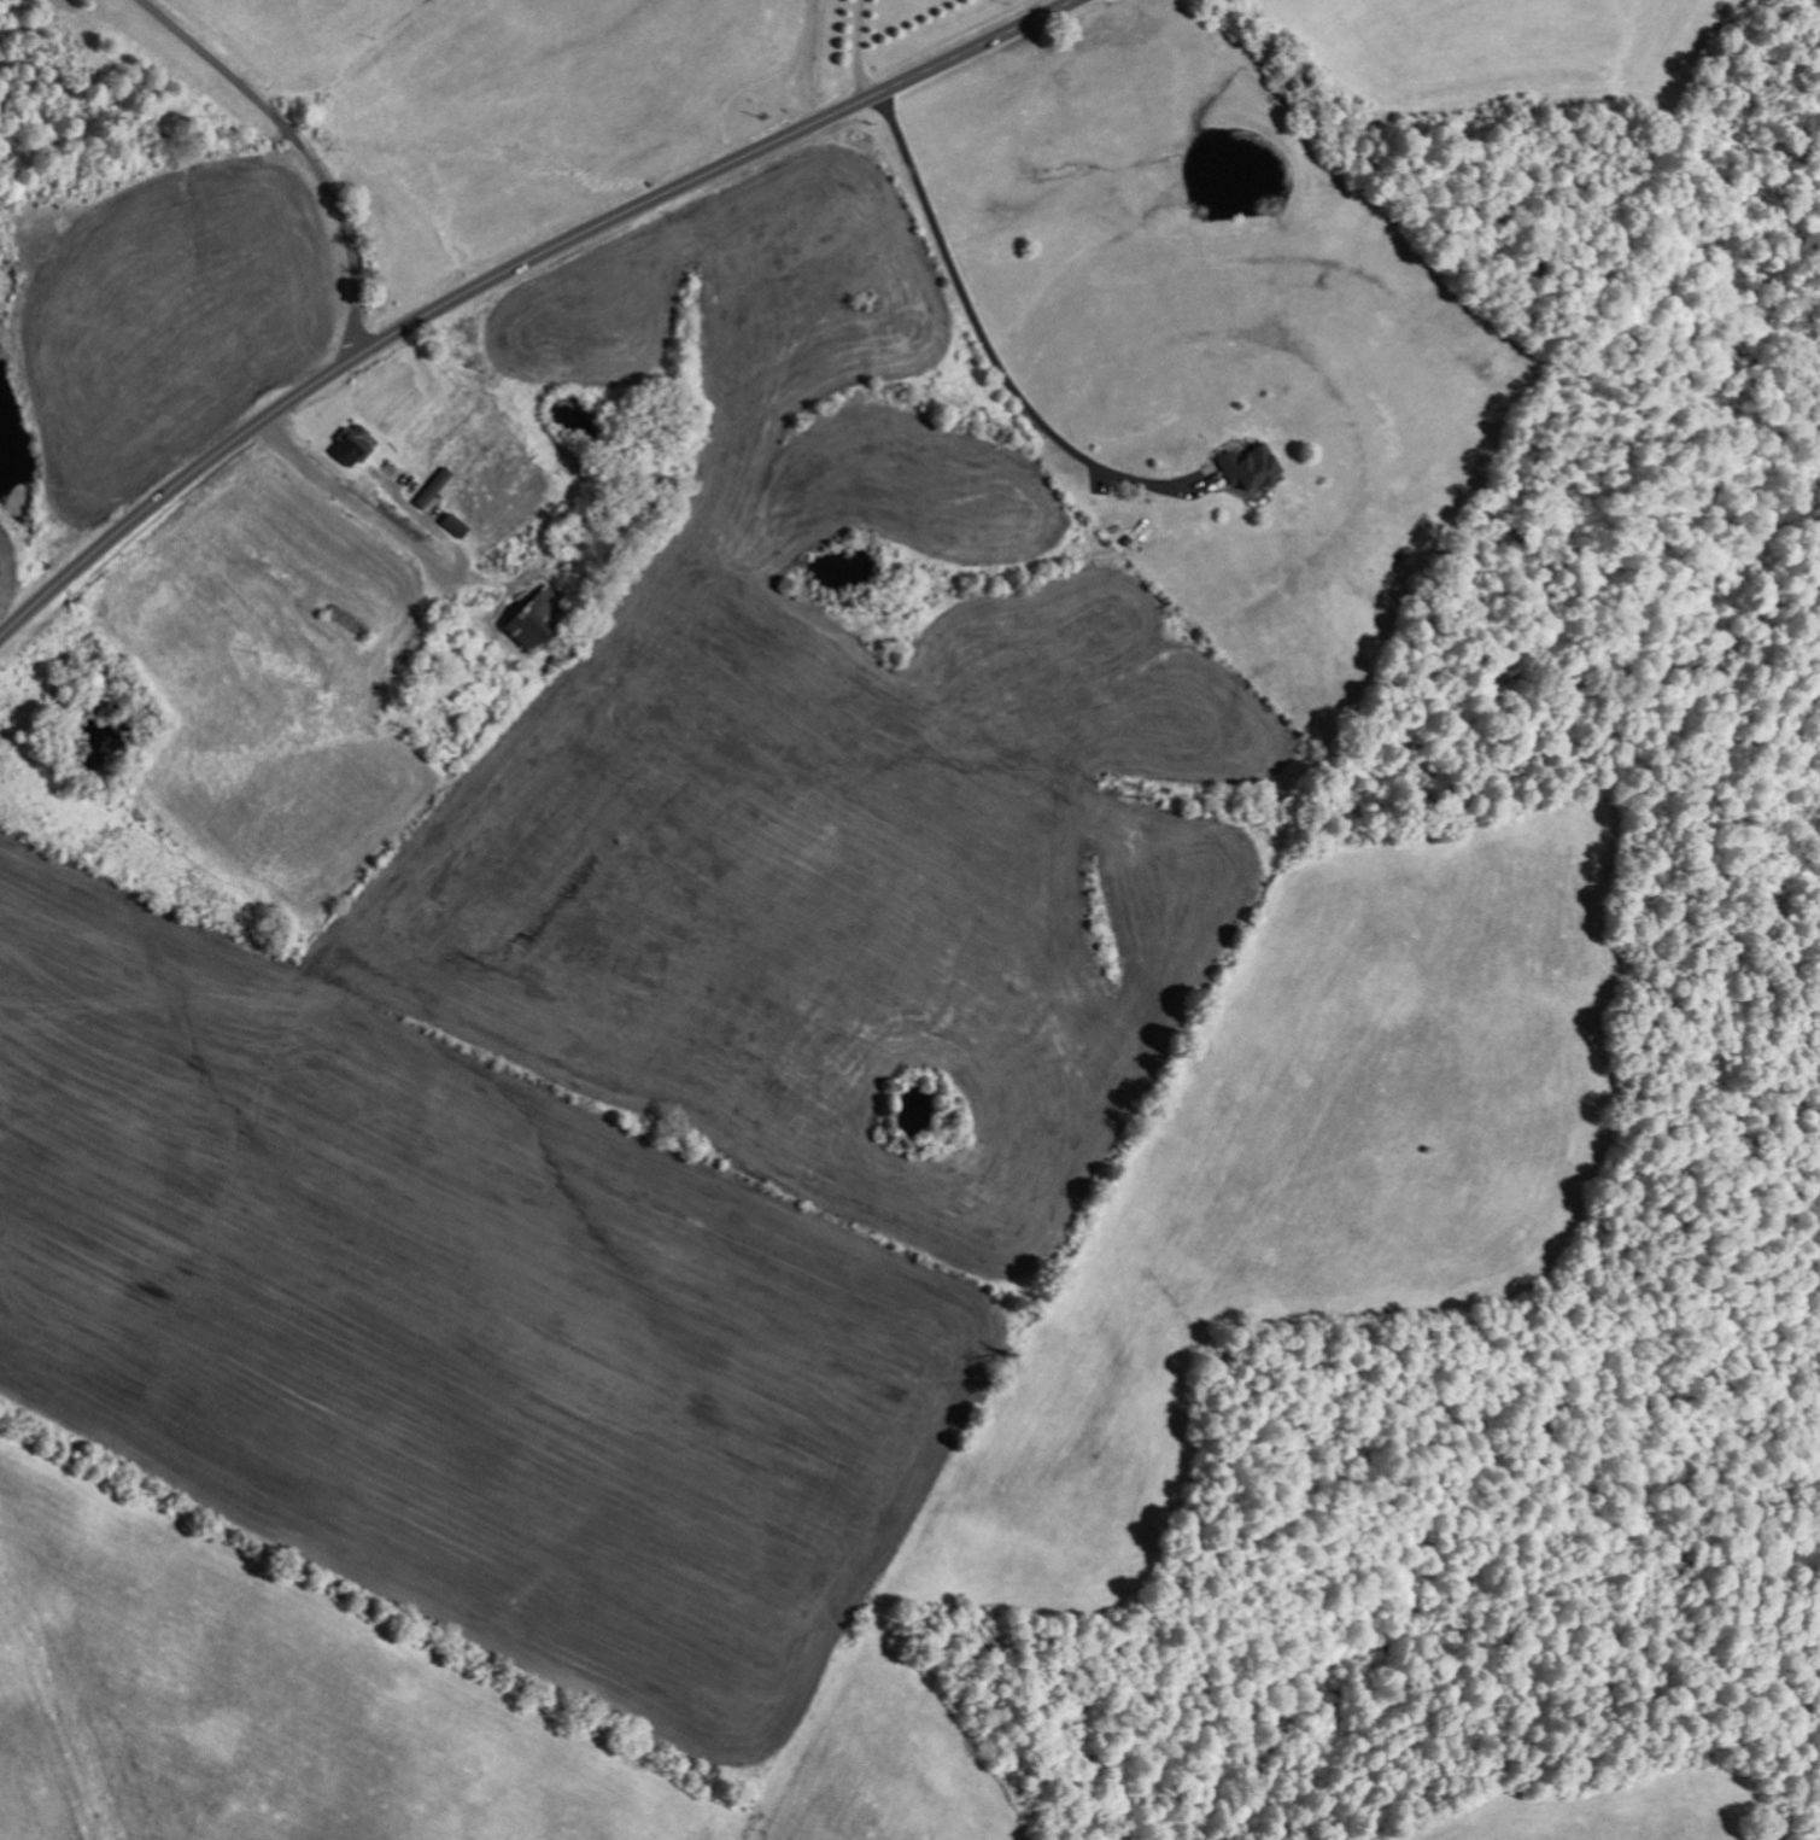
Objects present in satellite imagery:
road: (299, 148)
road: (505, 269)
building: (353, 445)
building: (1251, 466)
building: (438, 487)
building: (457, 525)
building: (536, 619)

